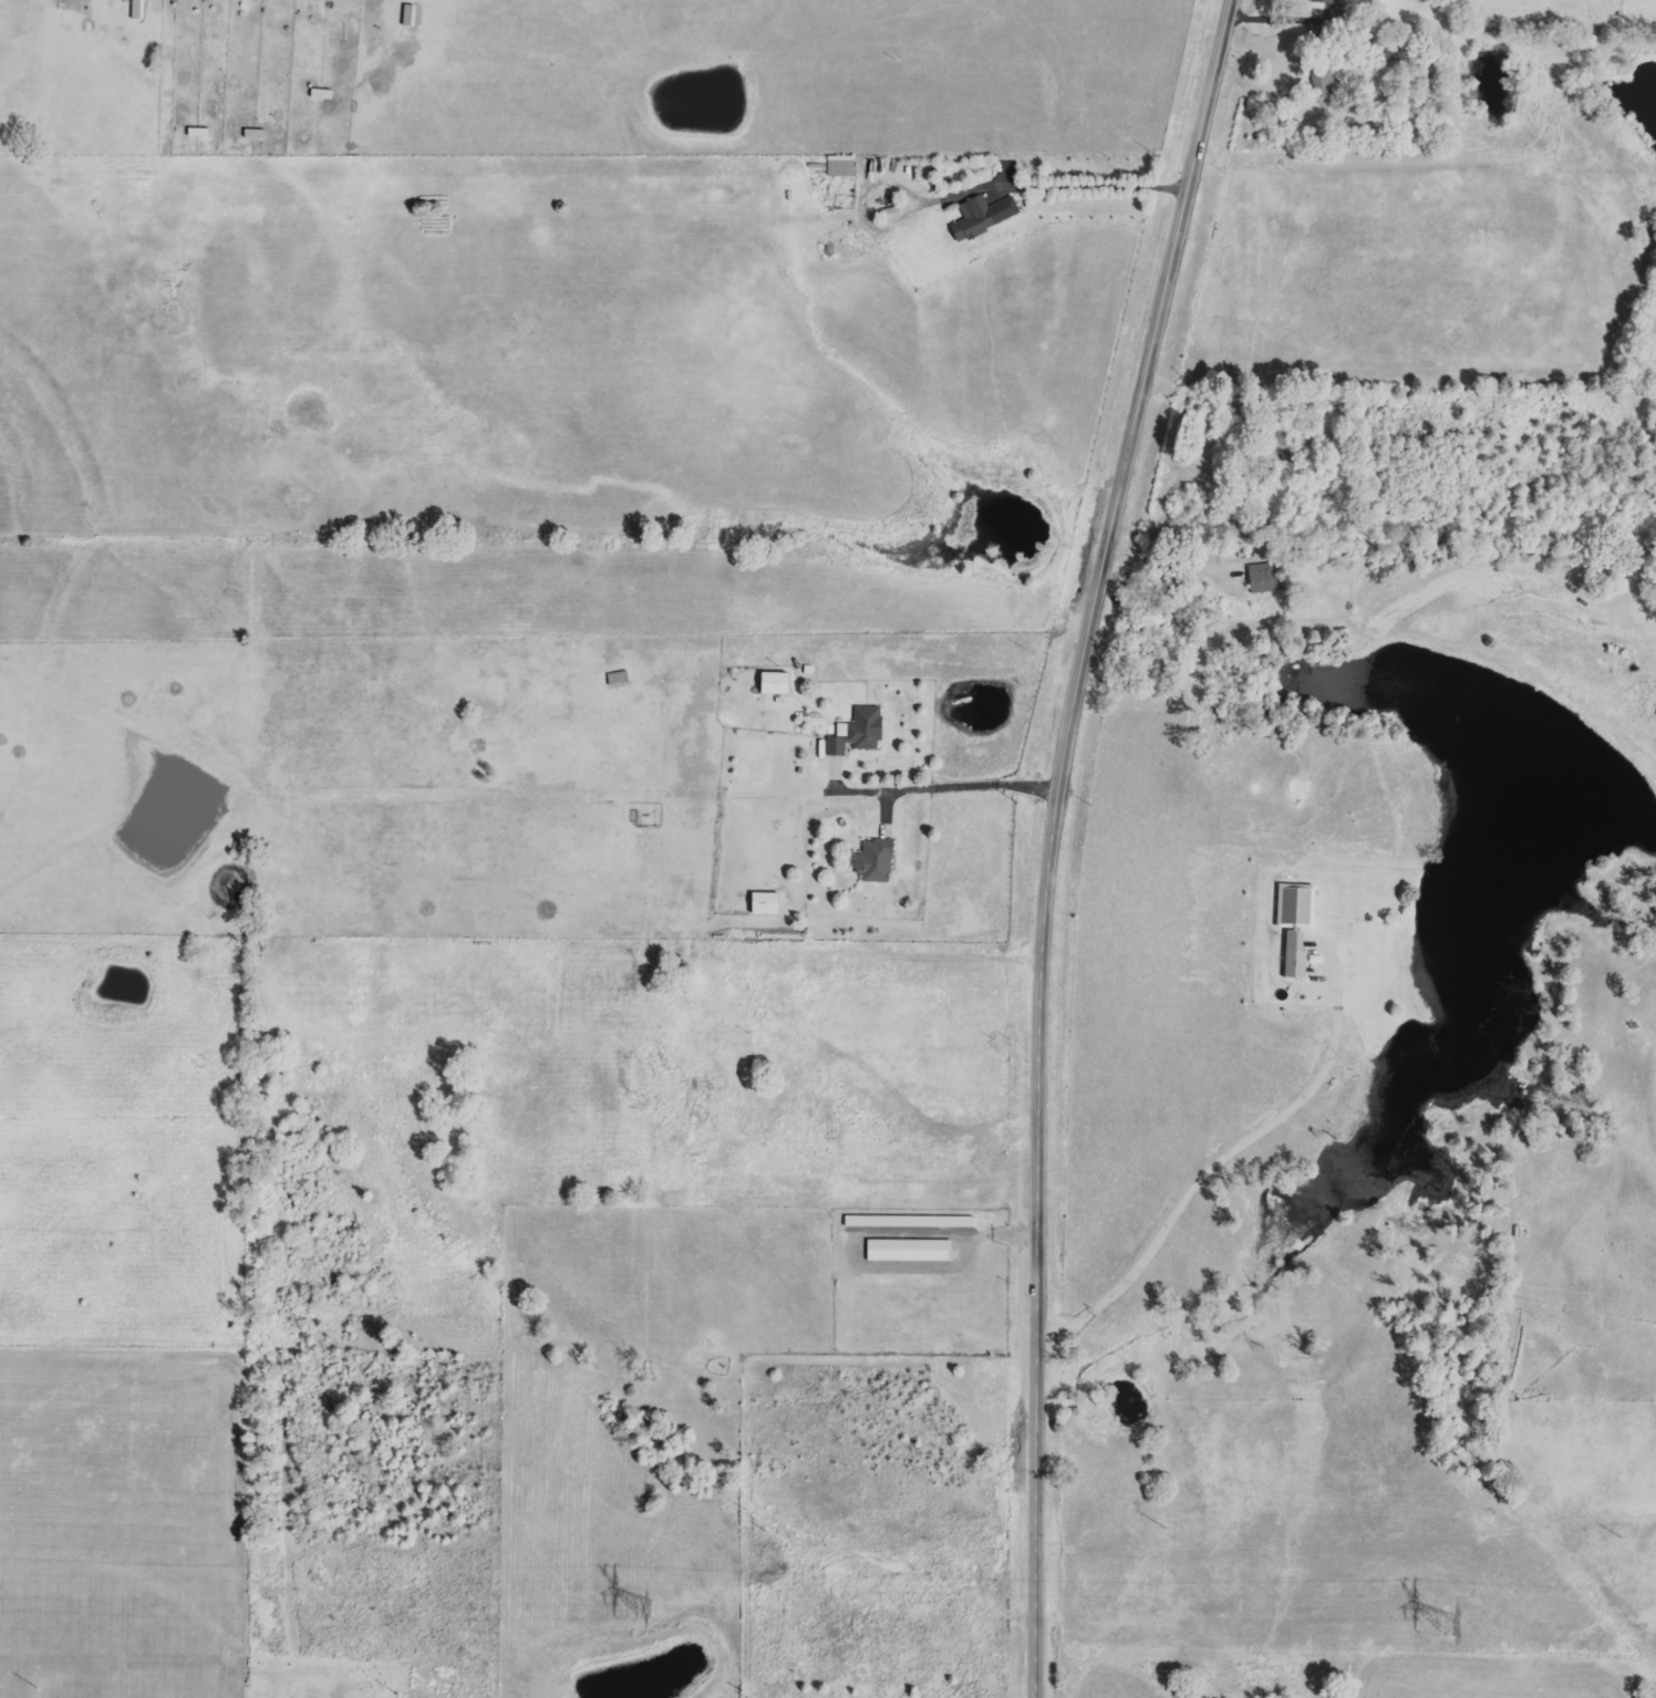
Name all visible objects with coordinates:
building: (1325, 1)
building: (1322, 81)
building: (197, 132)
building: (840, 166)
road: (1068, 191)
building: (983, 216)
building: (1280, 445)
building: (1265, 578)
building: (774, 683)
building: (857, 732)
road: (946, 784)
road: (1050, 838)
building: (874, 861)
building: (765, 904)
building: (1295, 905)
building: (1294, 955)
road: (787, 1005)
road: (1212, 1164)
building: (909, 1221)
building: (908, 1250)
power tower: (648, 1608)
power tower: (1451, 1624)

